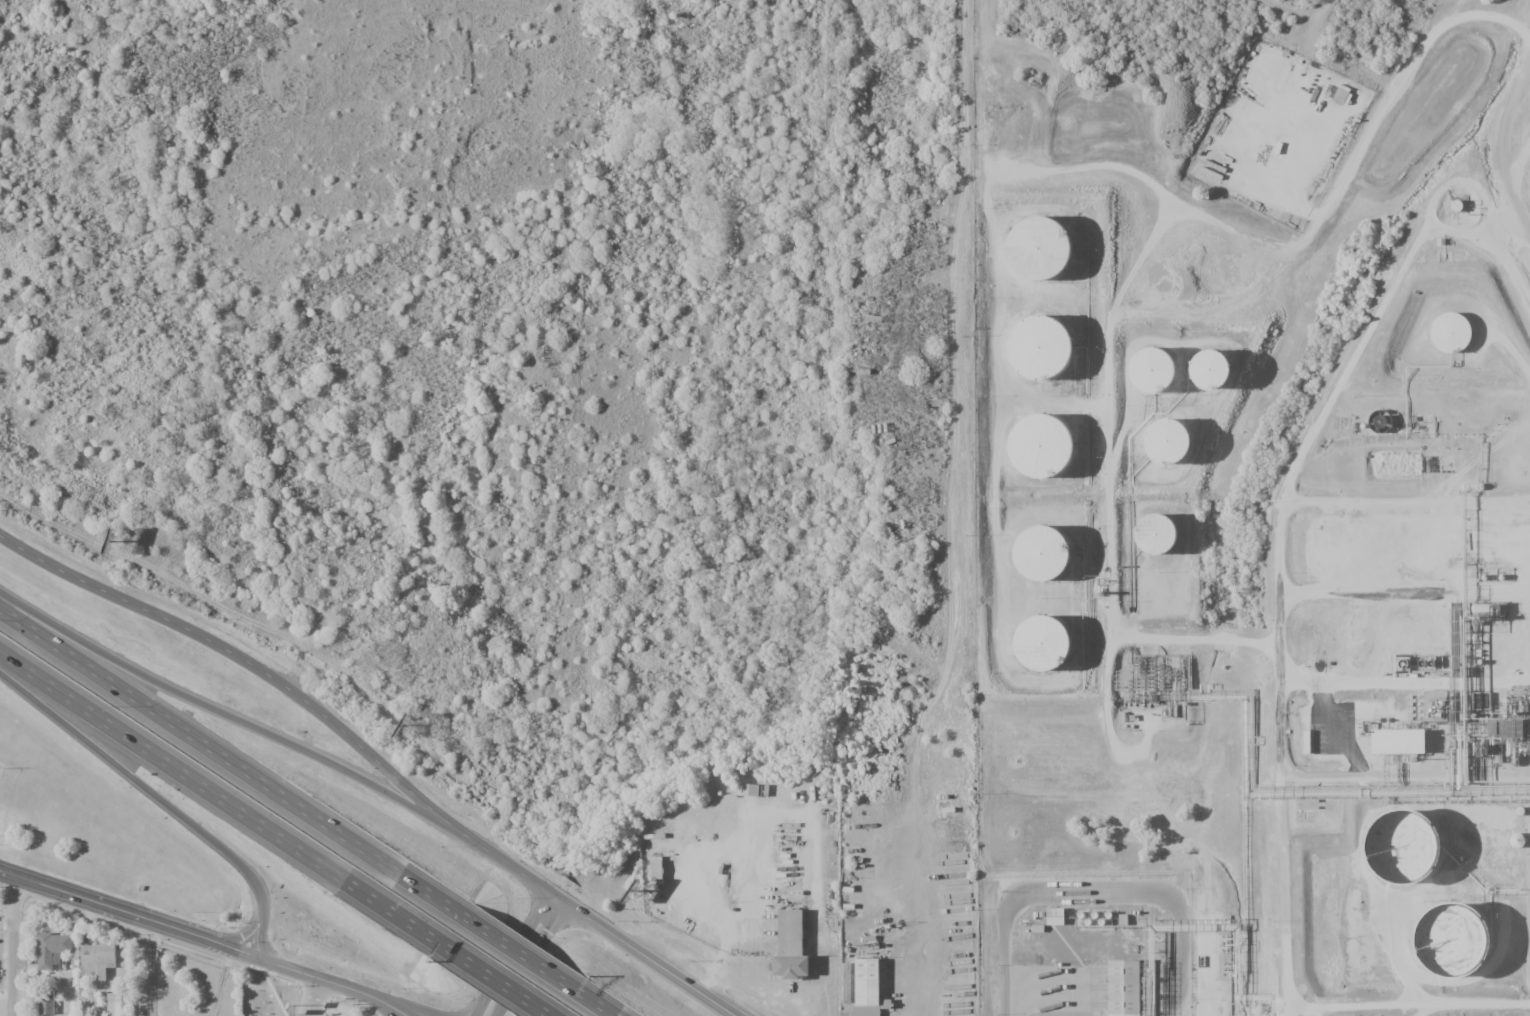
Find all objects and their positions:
road: (1521, 94)
road: (1501, 143)
building: (1040, 259)
storage tank: (1040, 259)
building: (1452, 337)
storage tank: (1452, 337)
building: (1037, 359)
storage tank: (1037, 359)
building: (1155, 384)
storage tank: (1155, 384)
building: (1214, 384)
storage tank: (1214, 384)
building: (1170, 457)
storage tank: (1170, 457)
building: (1041, 460)
storage tank: (1041, 460)
building: (1159, 550)
storage tank: (1159, 550)
road: (1287, 554)
building: (1041, 565)
storage tank: (1041, 565)
building: (1044, 659)
storage tank: (1044, 659)
road: (295, 694)
road: (242, 721)
building: (1529, 722)
building: (1404, 746)
road: (230, 763)
road: (129, 772)
building: (748, 790)
road: (220, 800)
building: (1417, 859)
storage tank: (1417, 859)
building: (655, 870)
road: (127, 912)
building: (1054, 916)
road: (259, 919)
road: (13, 945)
building: (790, 946)
building: (1460, 950)
storage tank: (1460, 950)
building: (53, 951)
road: (518, 953)
road: (528, 954)
road: (648, 958)
building: (97, 960)
road: (494, 980)
road: (333, 983)
building: (846, 983)
building: (866, 988)
building: (1126, 991)
road: (594, 1003)
building: (46, 1004)
building: (116, 1004)
road: (399, 1010)
road: (408, 1010)
road: (479, 1011)
road: (489, 1011)

